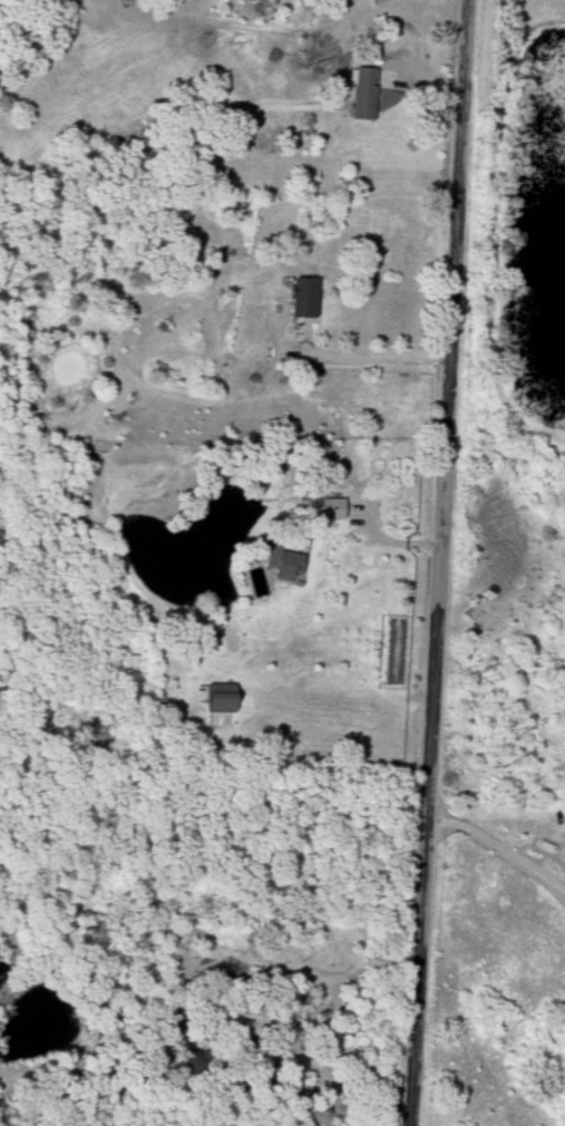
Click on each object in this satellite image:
building: (360, 93)
building: (299, 297)
road: (382, 357)
building: (328, 508)
building: (286, 562)
road: (439, 562)
road: (342, 690)
building: (215, 702)
road: (500, 851)
building: (175, 1025)
road: (322, 1040)

